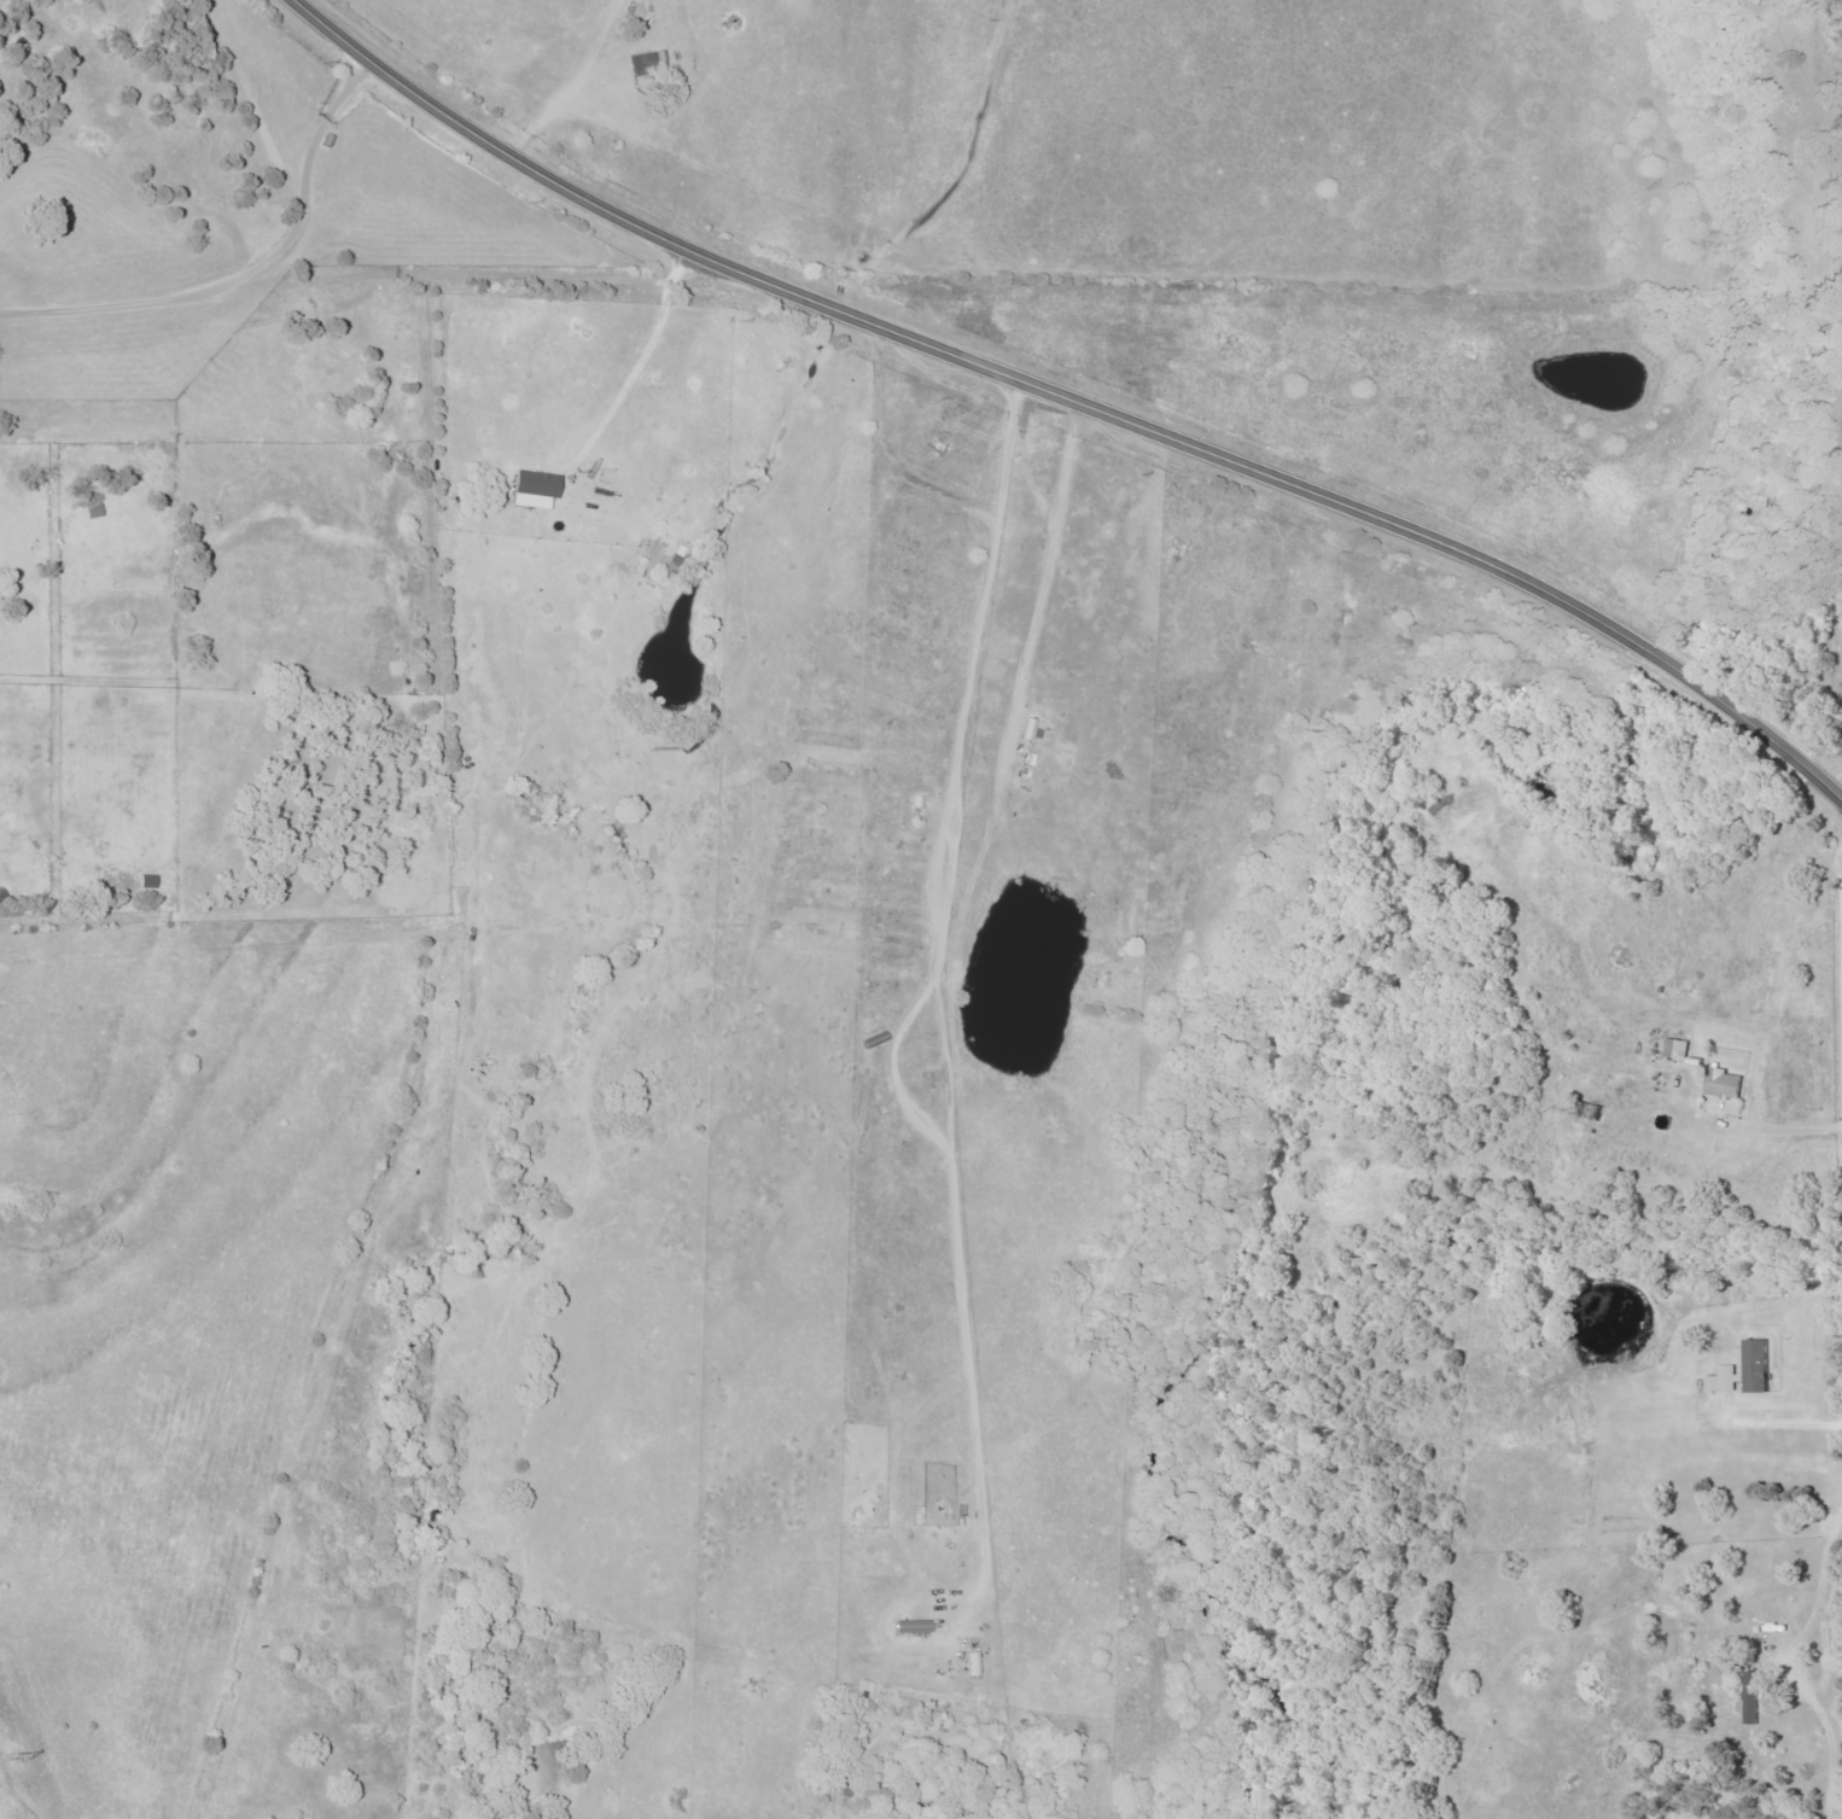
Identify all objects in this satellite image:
road: (239, 256)
road: (636, 363)
road: (1069, 401)
building: (535, 488)
building: (1031, 729)
road: (1831, 773)
road: (934, 979)
building: (1677, 1048)
building: (1725, 1084)
road: (1780, 1133)
building: (1744, 1370)
building: (911, 1626)
road: (1790, 1663)
building: (1753, 1698)
power tower: (11, 1754)

